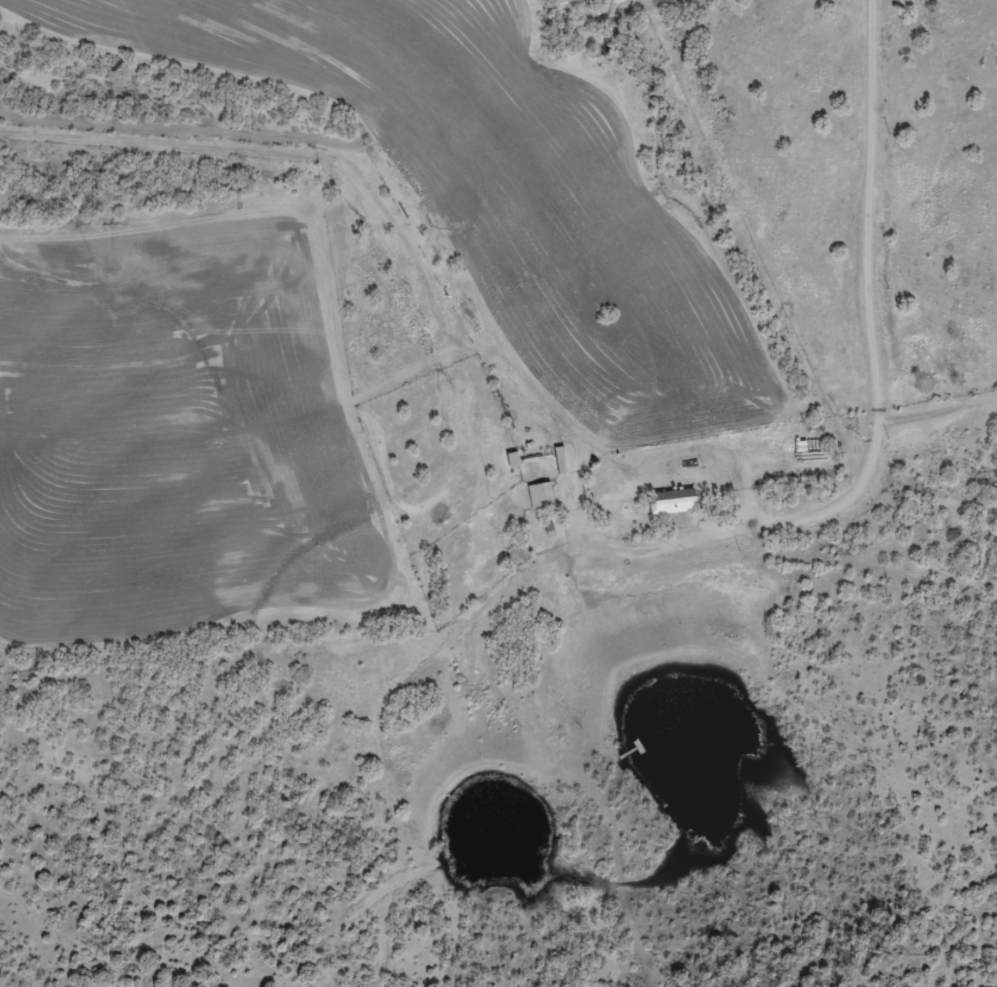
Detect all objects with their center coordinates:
road: (874, 386)
building: (515, 468)
building: (562, 468)
building: (541, 504)
building: (674, 509)

